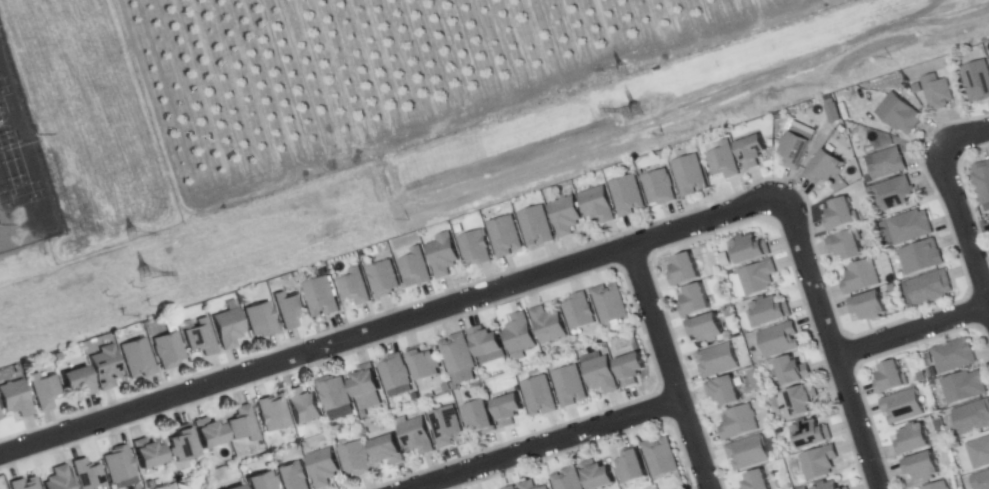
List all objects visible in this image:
building: (988, 54)
power tower: (623, 70)
building: (976, 80)
building: (917, 88)
building: (936, 92)
power tower: (638, 114)
building: (899, 114)
road: (963, 139)
building: (794, 149)
building: (750, 151)
building: (723, 160)
building: (888, 163)
building: (824, 167)
building: (689, 176)
building: (982, 180)
building: (659, 187)
building: (893, 193)
building: (627, 195)
power substation: (13, 200)
building: (597, 205)
building: (565, 215)
building: (840, 215)
road: (963, 225)
building: (535, 226)
building: (909, 226)
power tower: (133, 236)
building: (504, 236)
building: (846, 245)
building: (474, 248)
building: (749, 249)
building: (442, 254)
building: (921, 257)
building: (415, 267)
building: (683, 270)
power tower: (149, 277)
building: (758, 277)
building: (860, 277)
building: (382, 279)
building: (353, 287)
building: (927, 288)
building: (320, 297)
building: (693, 300)
building: (610, 304)
building: (868, 306)
building: (287, 309)
building: (767, 311)
building: (579, 312)
building: (259, 319)
building: (547, 324)
road: (391, 325)
building: (227, 327)
building: (704, 328)
road: (912, 332)
building: (519, 334)
building: (200, 337)
building: (778, 340)
road: (831, 341)
building: (483, 342)
building: (167, 350)
building: (954, 356)
building: (136, 358)
building: (458, 358)
building: (716, 360)
building: (423, 364)
building: (104, 366)
road: (668, 366)
building: (629, 370)
building: (790, 371)
building: (395, 373)
building: (600, 375)
building: (889, 379)
building: (76, 381)
building: (364, 381)
building: (568, 386)
building: (963, 387)
building: (42, 389)
building: (723, 391)
building: (332, 395)
building: (539, 396)
building: (14, 399)
building: (800, 399)
building: (301, 405)
building: (902, 406)
building: (506, 410)
building: (272, 413)
building: (0, 417)
building: (478, 417)
building: (972, 417)
building: (0, 419)
building: (738, 422)
building: (242, 424)
building: (446, 427)
building: (207, 434)
building: (810, 434)
building: (415, 435)
building: (911, 439)
road: (546, 445)
building: (180, 446)
building: (386, 450)
building: (747, 453)
building: (979, 453)
building: (146, 454)
building: (659, 457)
building: (354, 459)
building: (819, 462)
building: (118, 465)
building: (322, 467)
building: (920, 467)
building: (630, 468)
building: (595, 474)
building: (87, 475)
building: (293, 476)
building: (57, 479)
building: (566, 479)
building: (980, 480)
building: (755, 481)
building: (259, 482)
building: (22, 484)
building: (528, 485)
building: (830, 485)
building: (937, 486)
building: (236, 487)
building: (509, 487)
building: (544, 488)

